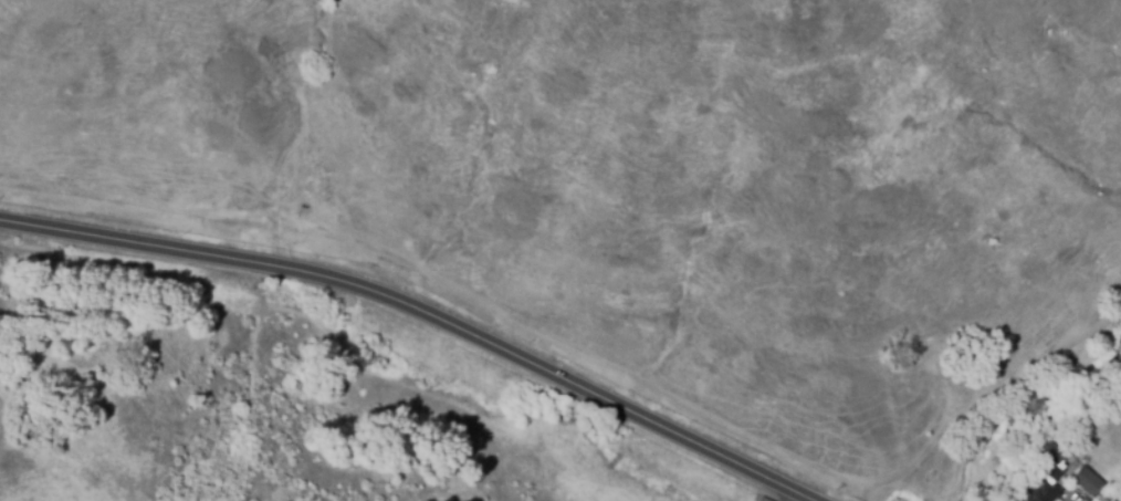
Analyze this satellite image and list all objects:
road: (422, 312)
building: (1117, 499)

